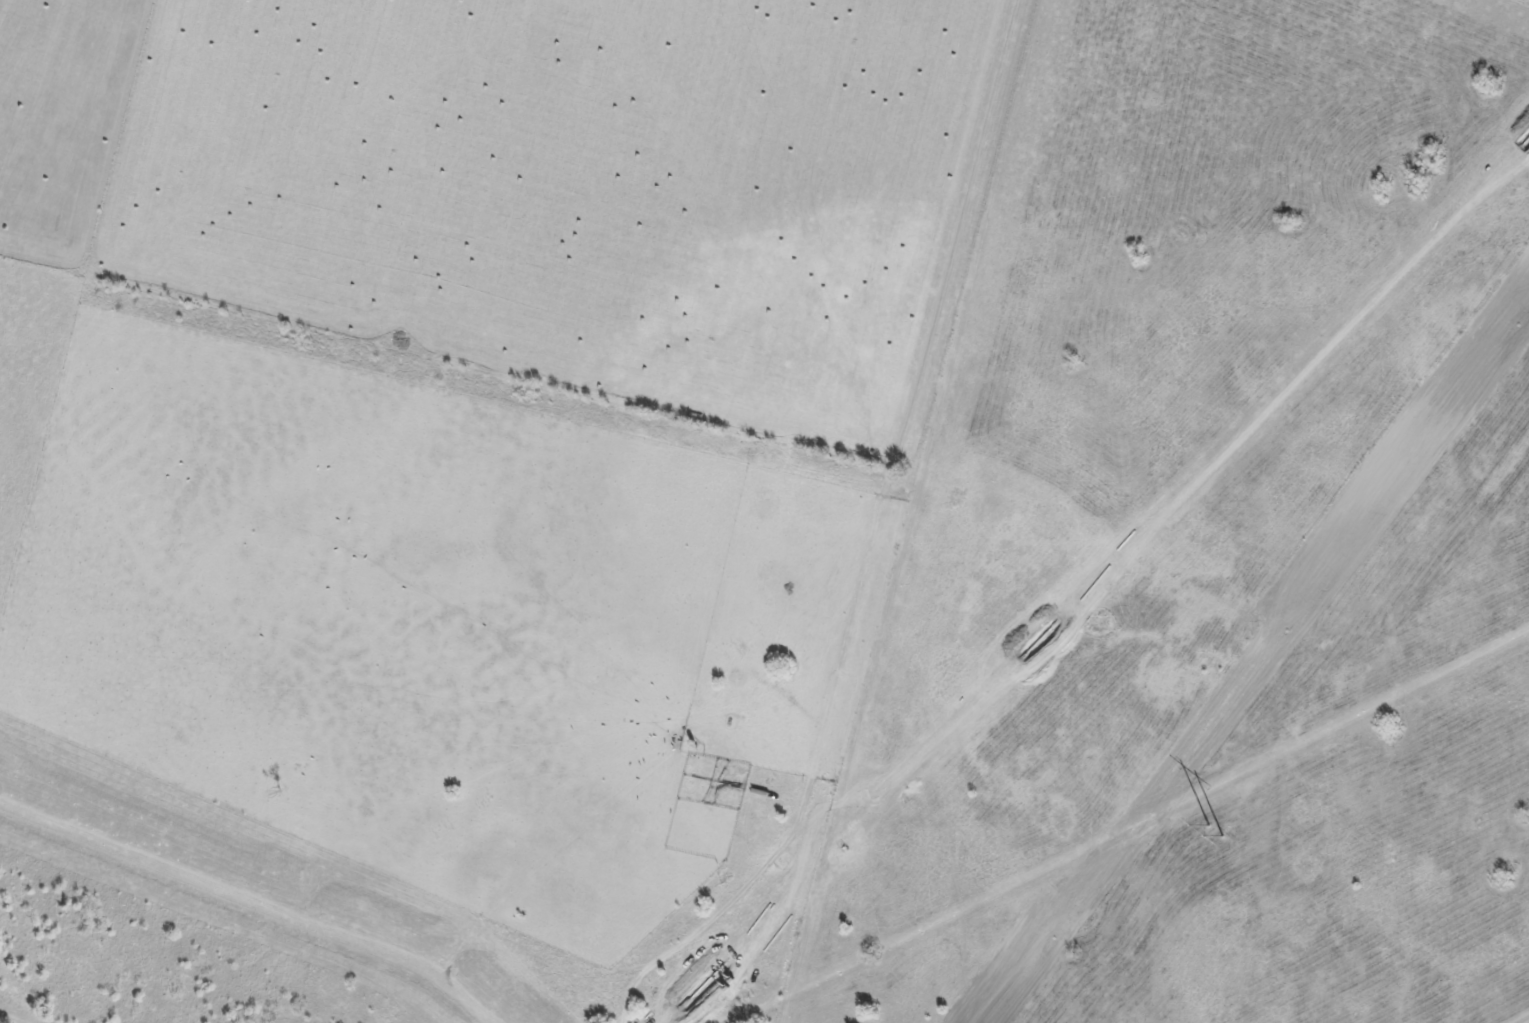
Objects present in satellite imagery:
power tower: (1226, 824)

